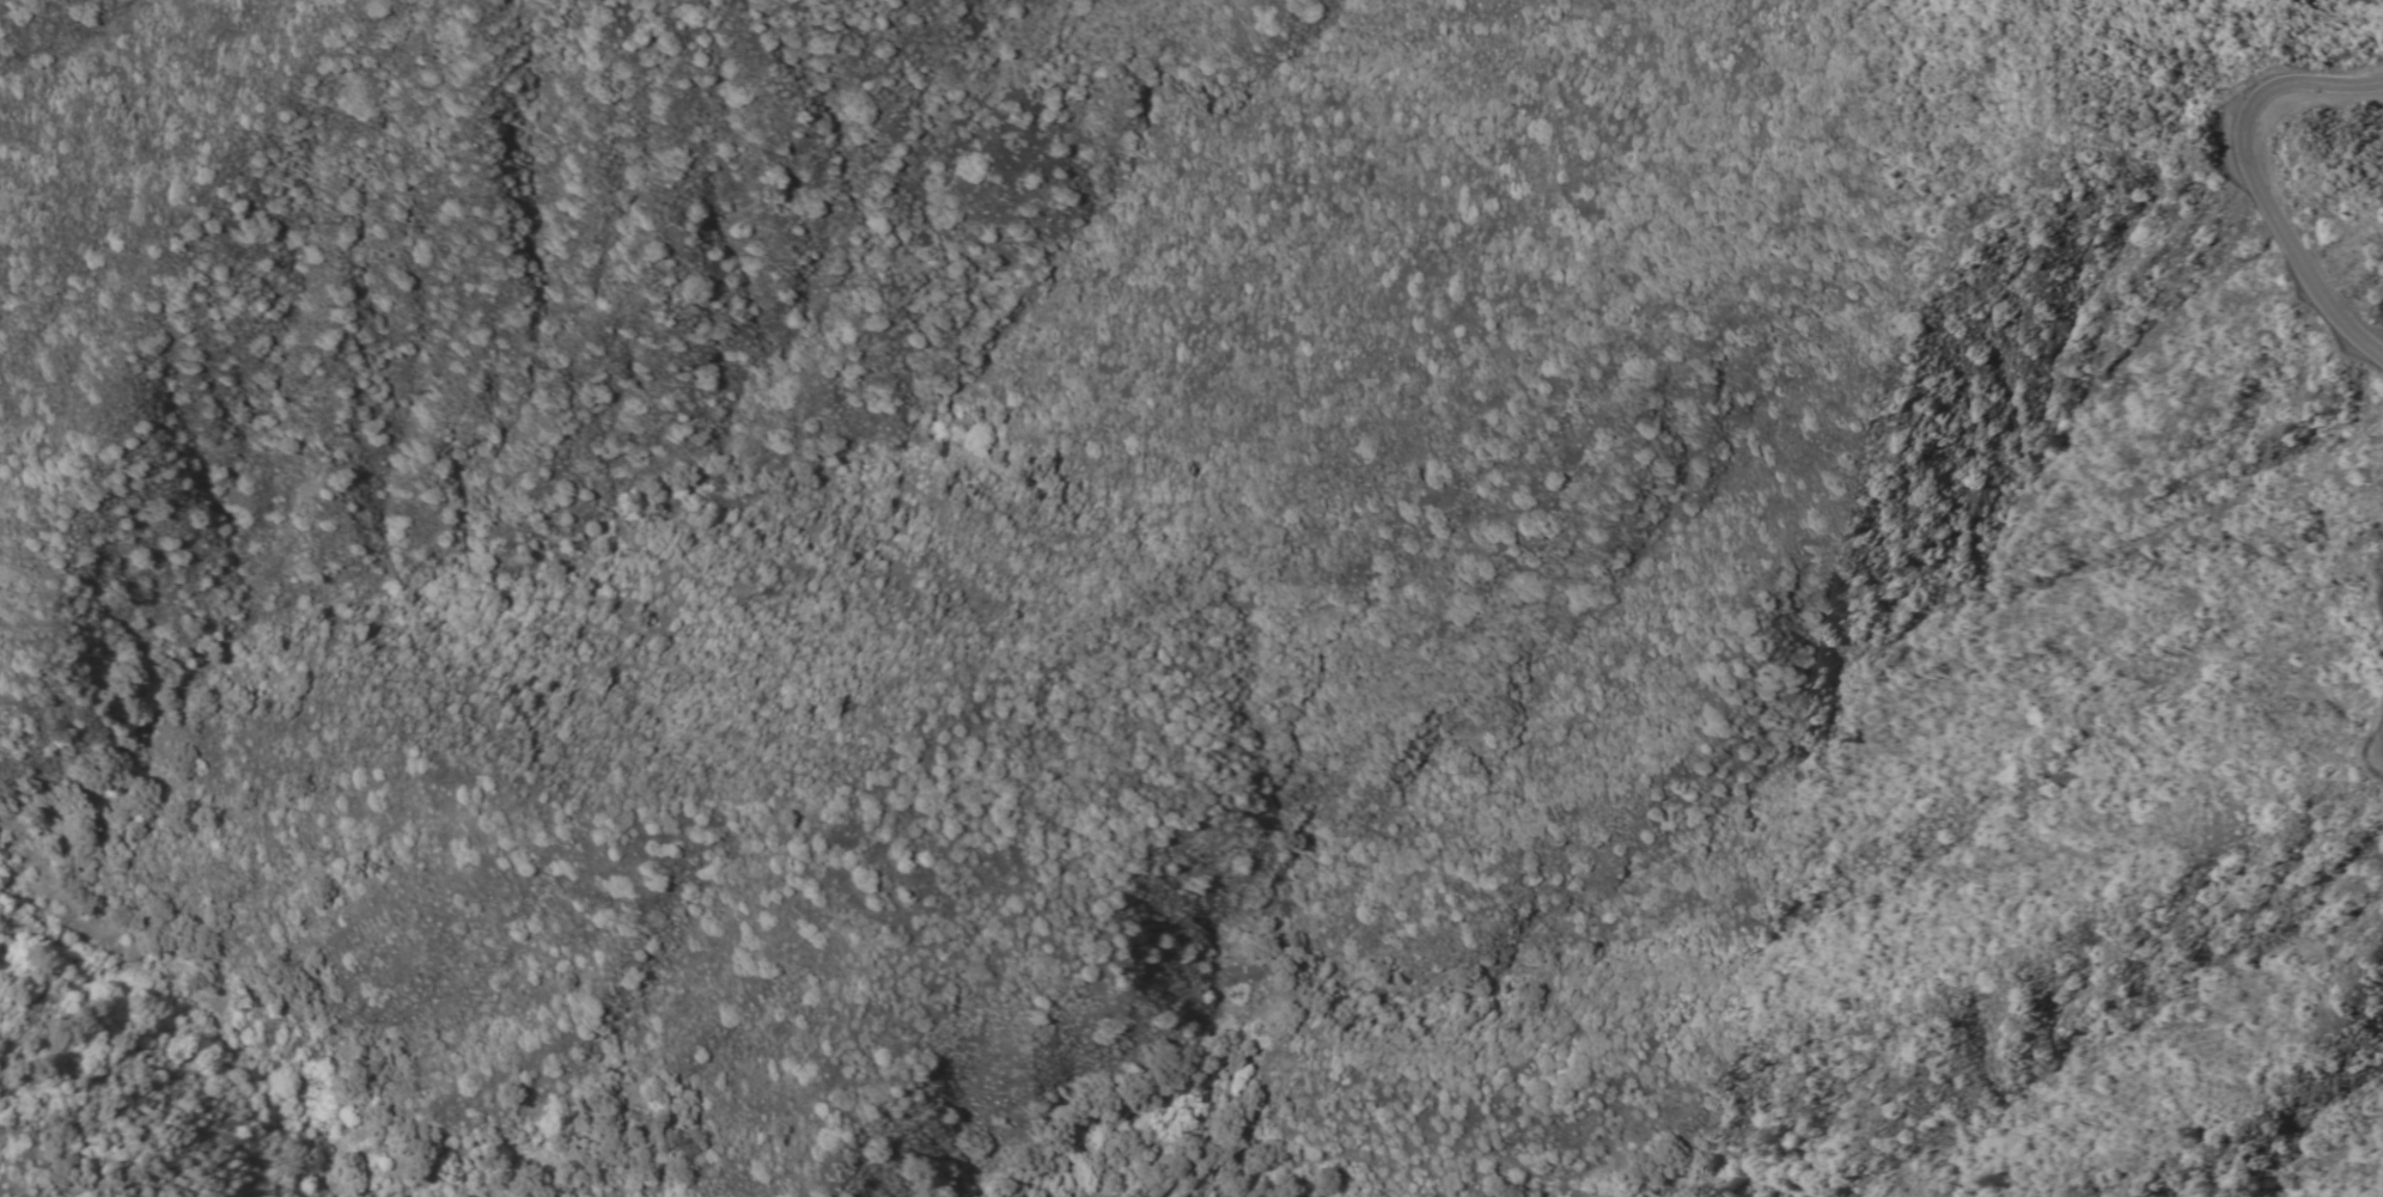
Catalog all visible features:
road: (2255, 179)

